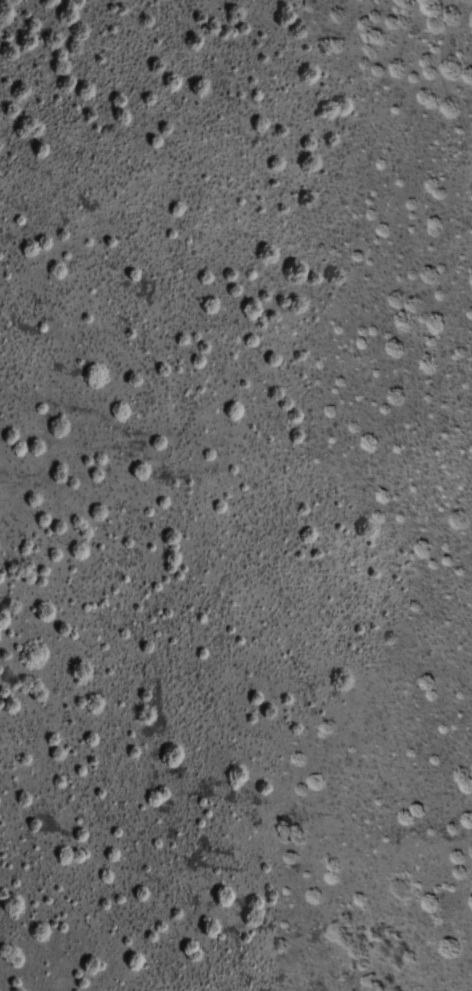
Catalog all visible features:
road: (449, 63)

